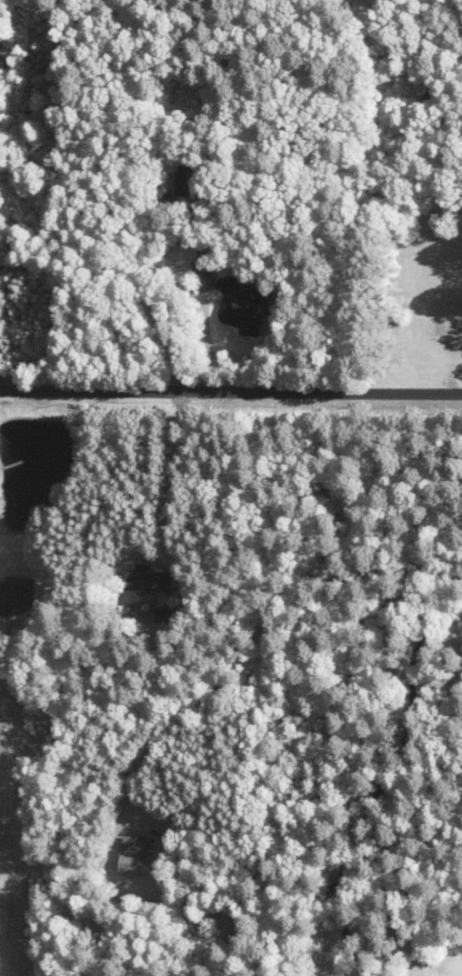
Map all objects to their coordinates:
building: (0, 33)
building: (189, 175)
building: (243, 309)
road: (231, 392)
building: (152, 580)
building: (16, 594)
building: (134, 855)

